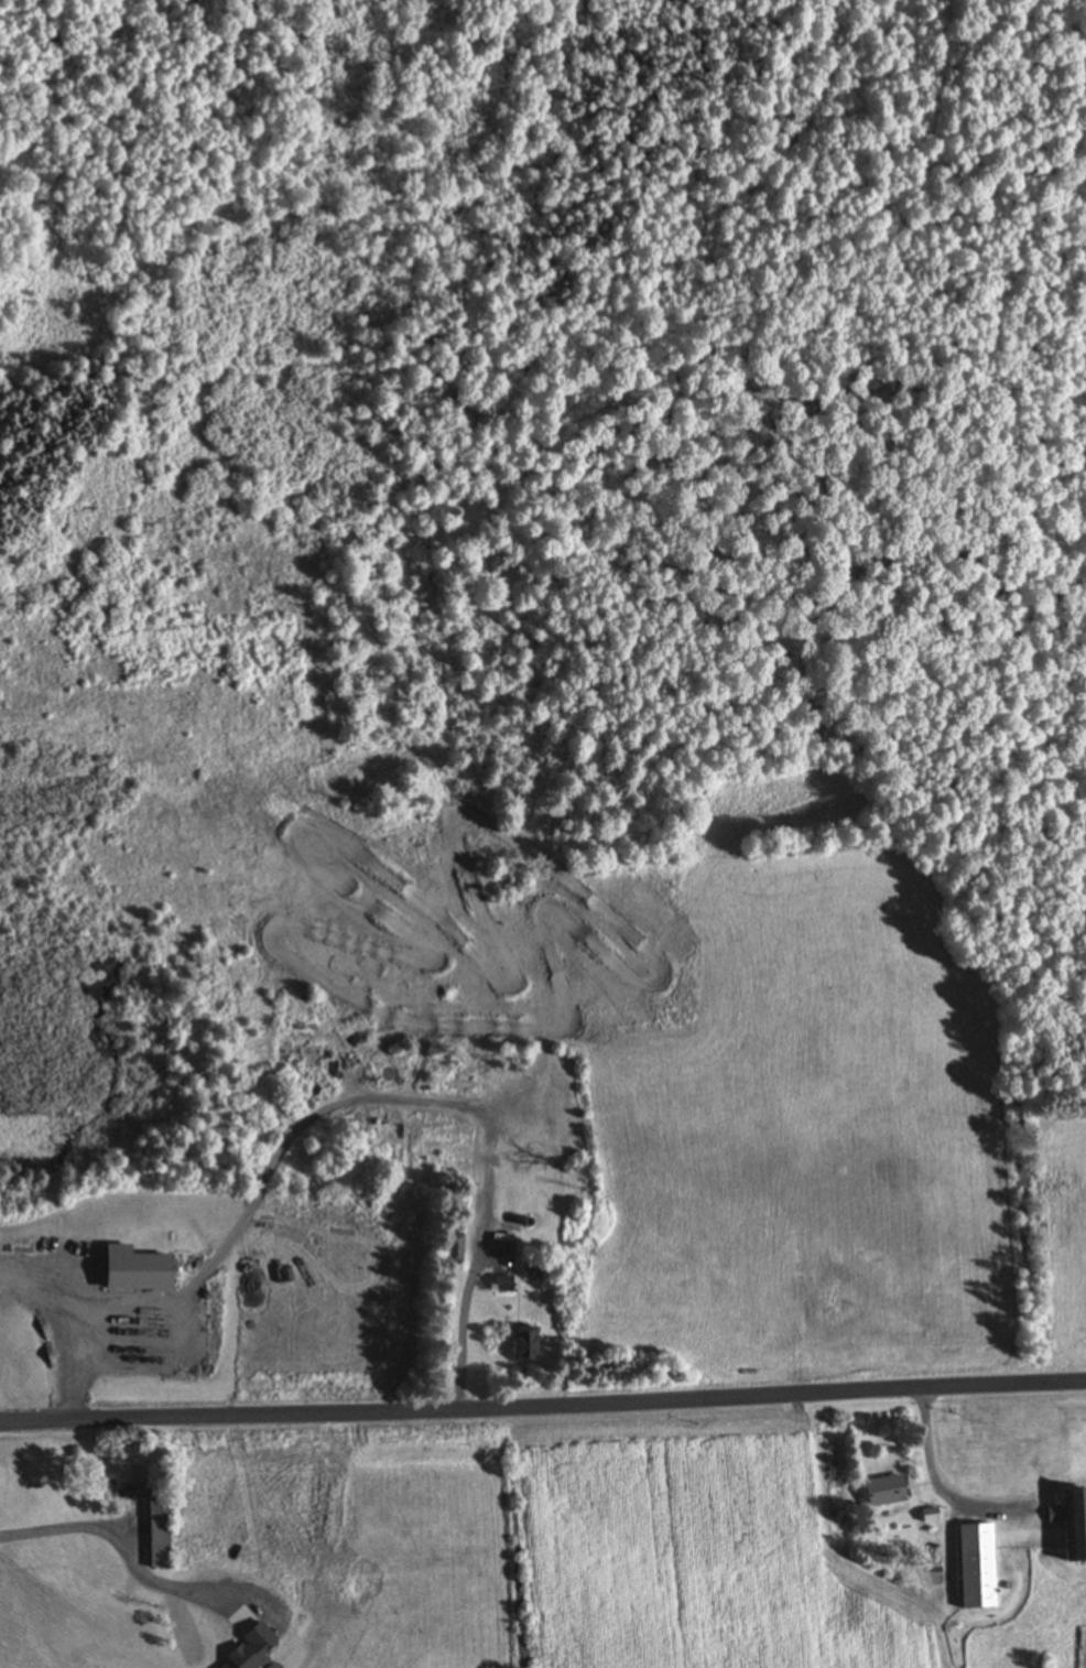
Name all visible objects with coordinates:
building: (456, 1249)
building: (135, 1271)
building: (503, 1284)
building: (525, 1344)
road: (543, 1402)
building: (126, 1483)
building: (884, 1491)
building: (1073, 1523)
building: (159, 1530)
building: (977, 1567)
building: (113, 1629)

